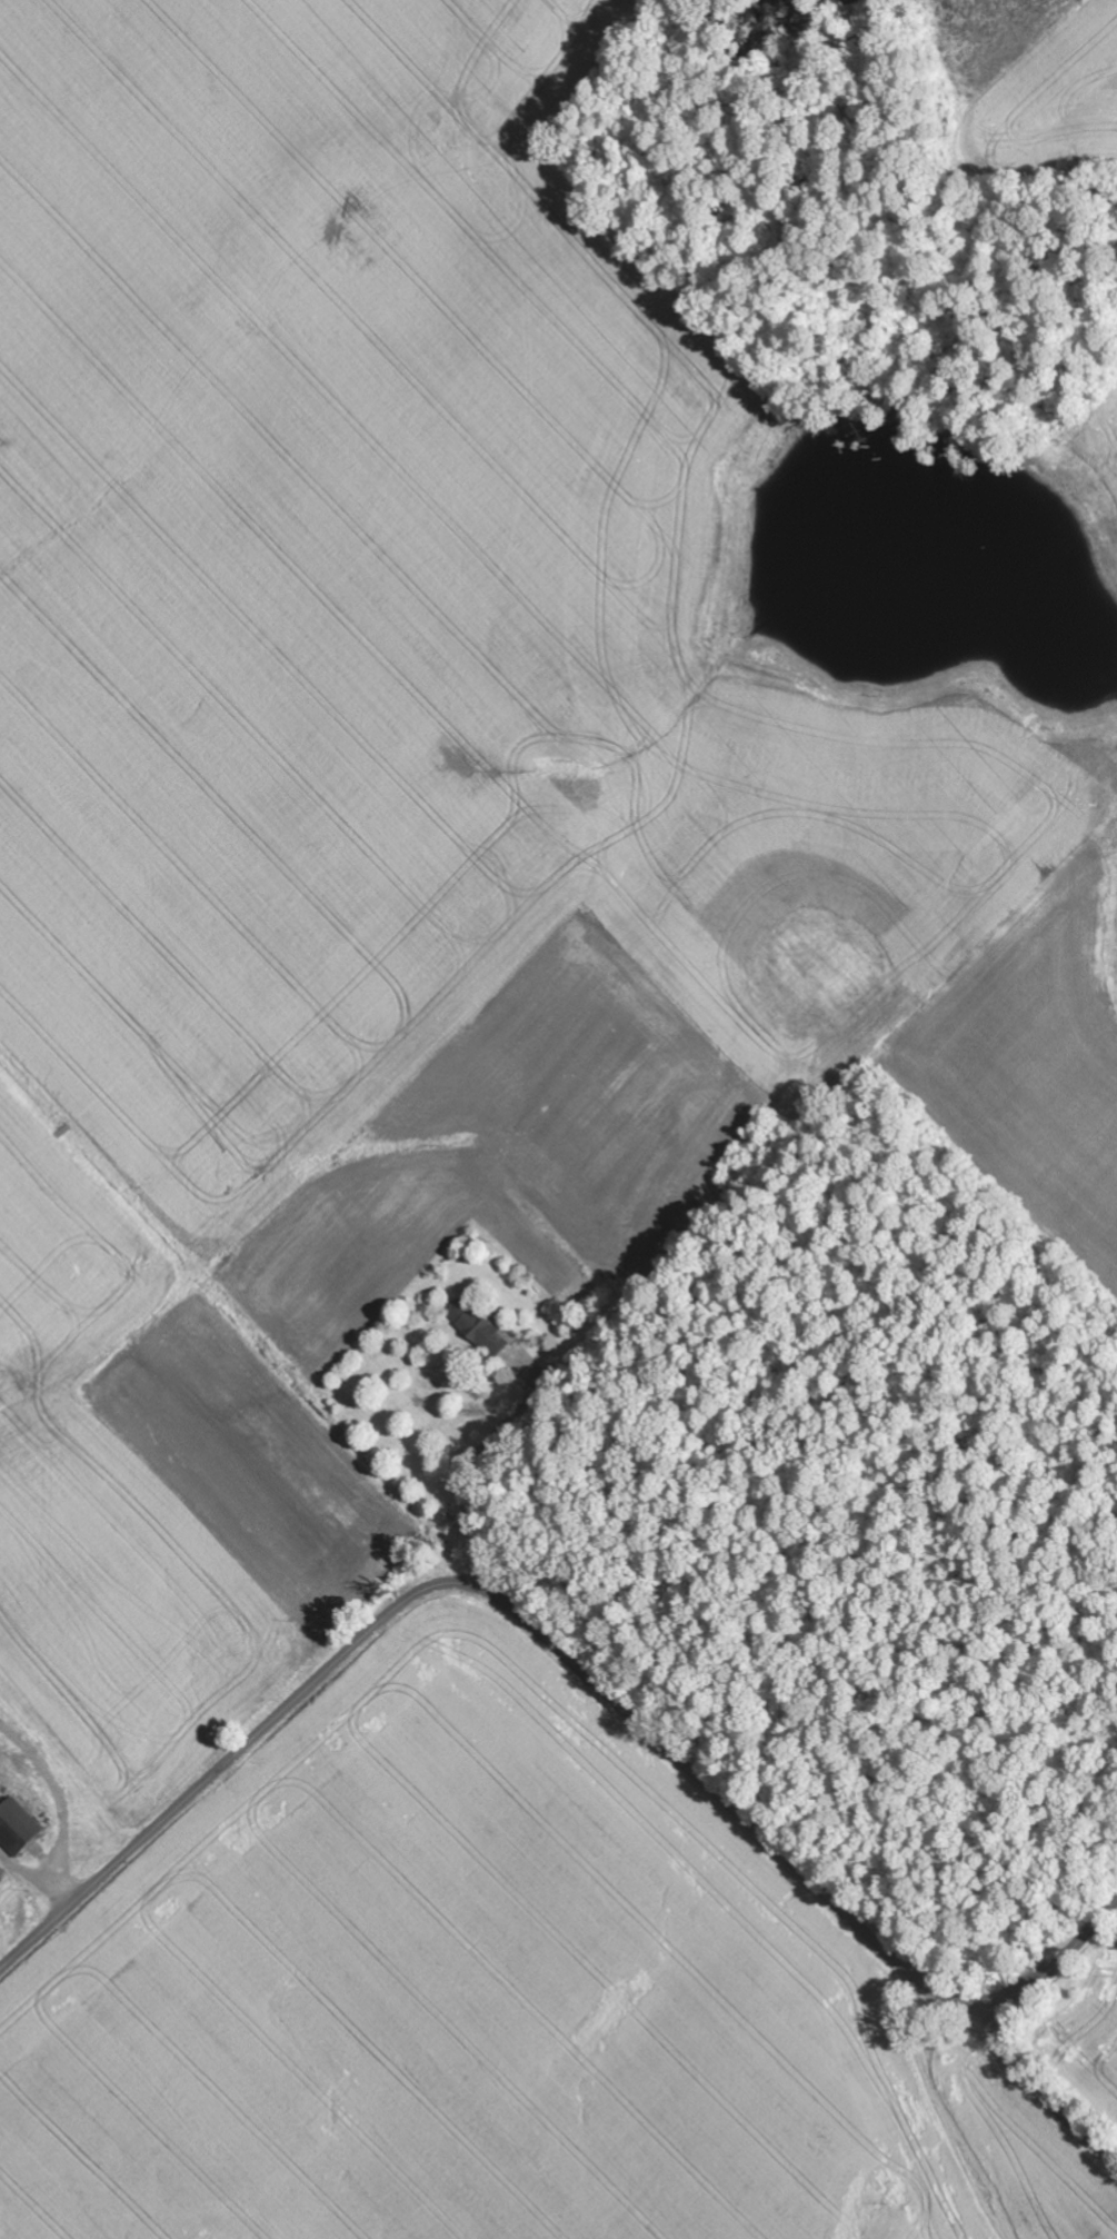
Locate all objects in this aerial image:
building: (477, 1329)
road: (560, 1652)
building: (18, 1829)
road: (1035, 2094)

